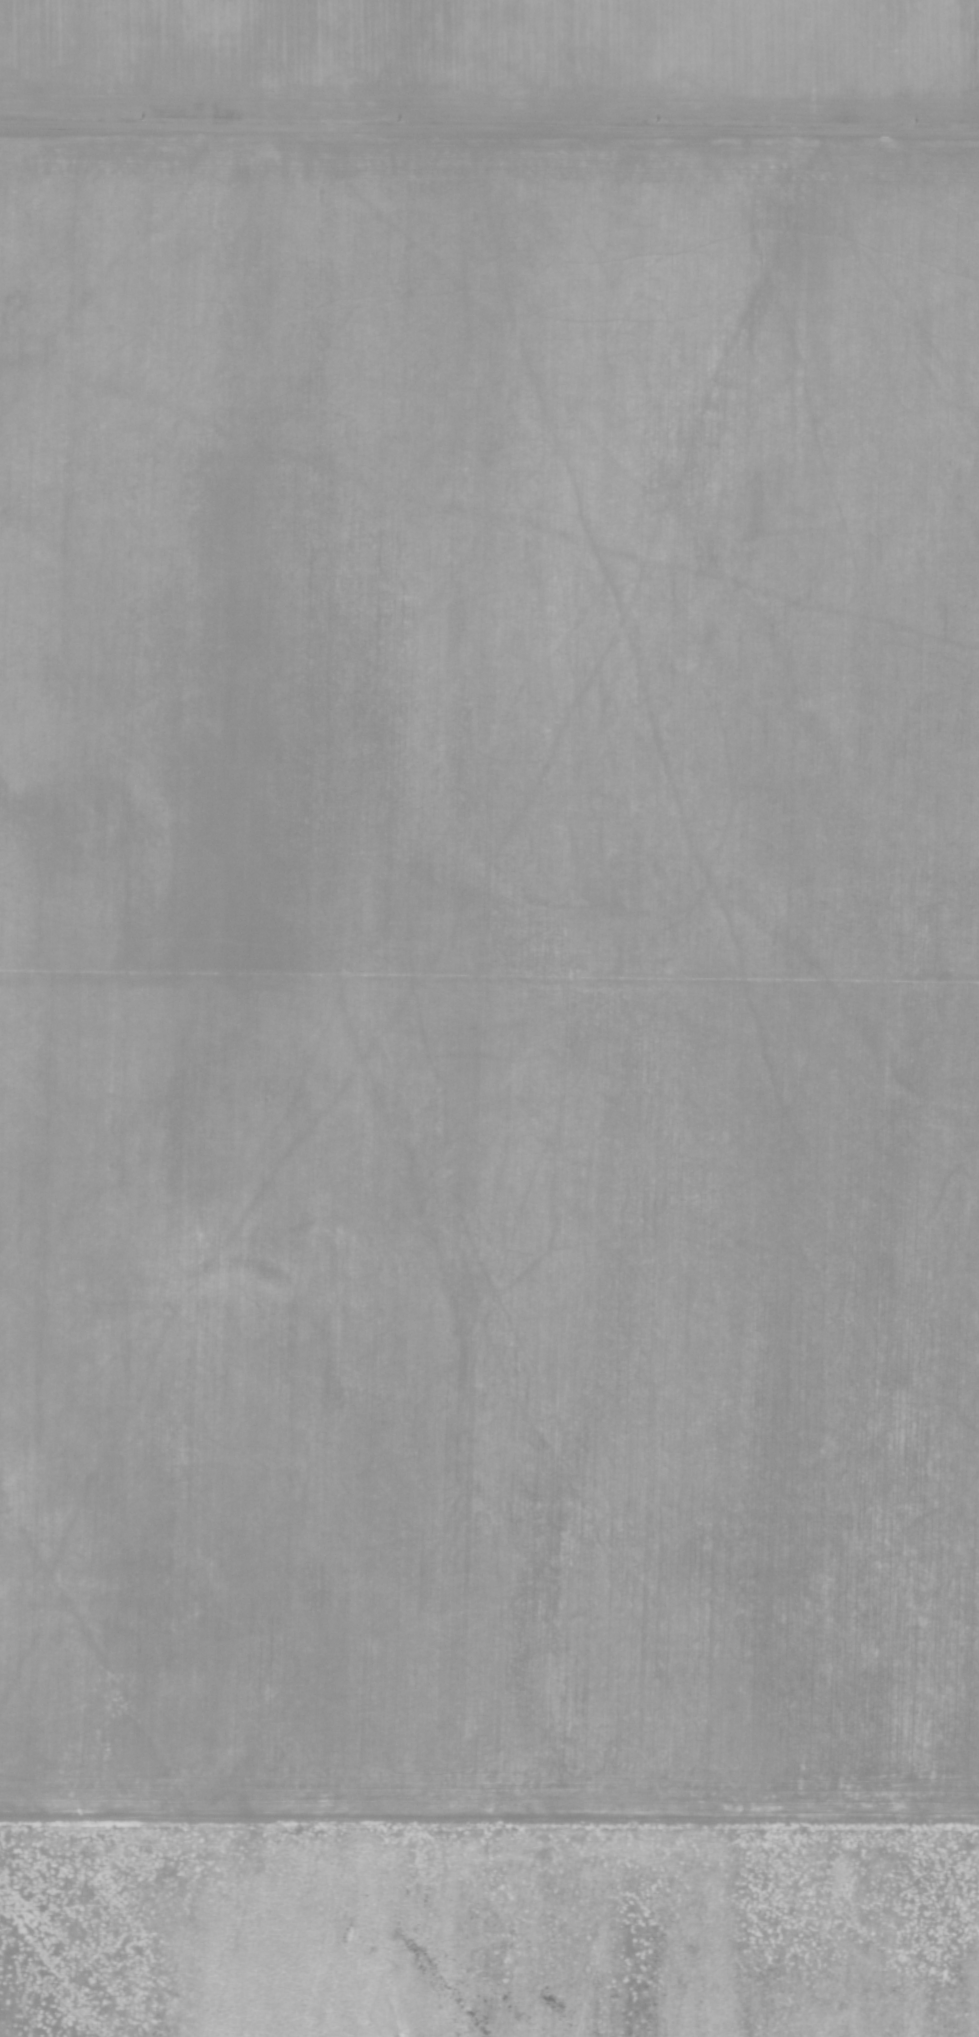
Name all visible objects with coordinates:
road: (489, 137)
road: (489, 1841)

